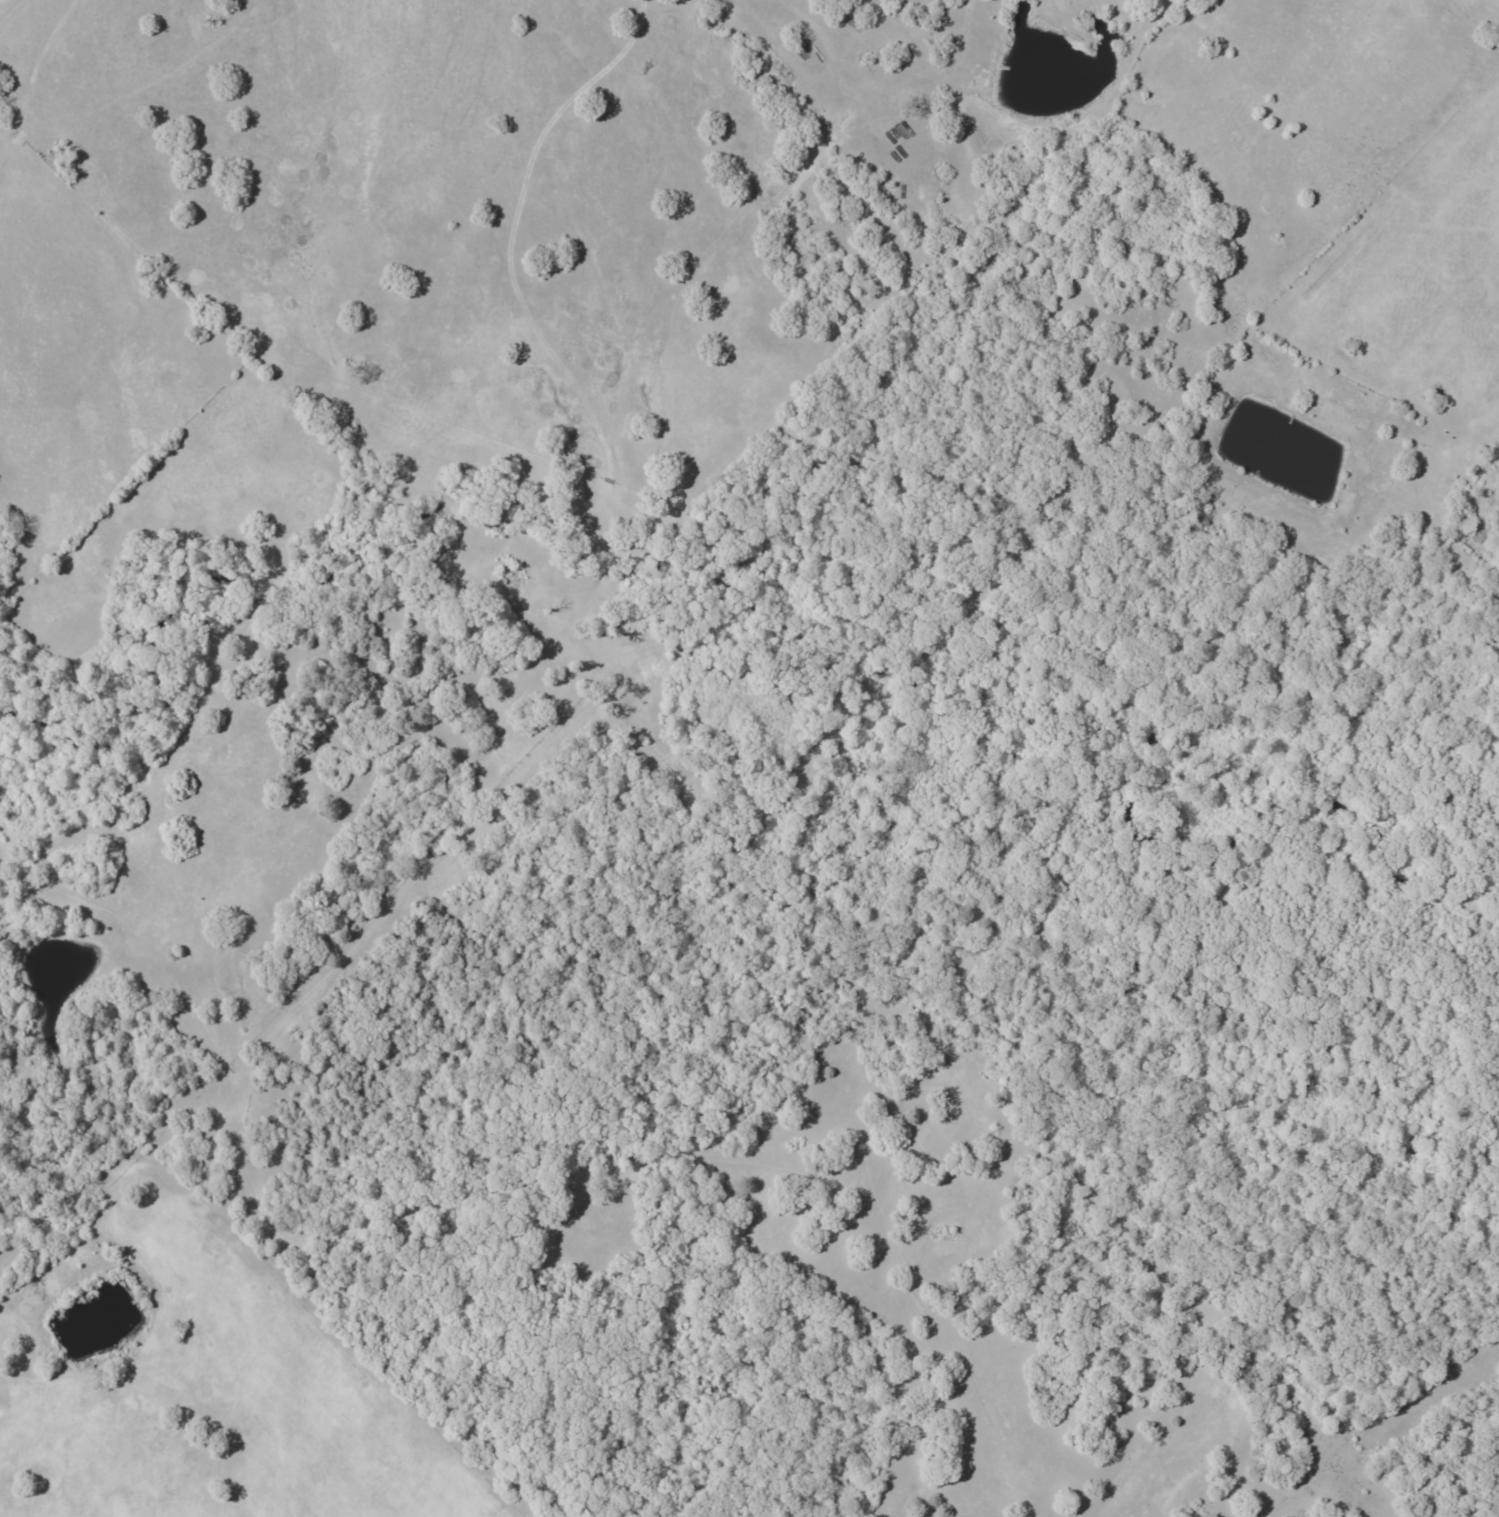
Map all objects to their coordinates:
road: (1262, 80)

